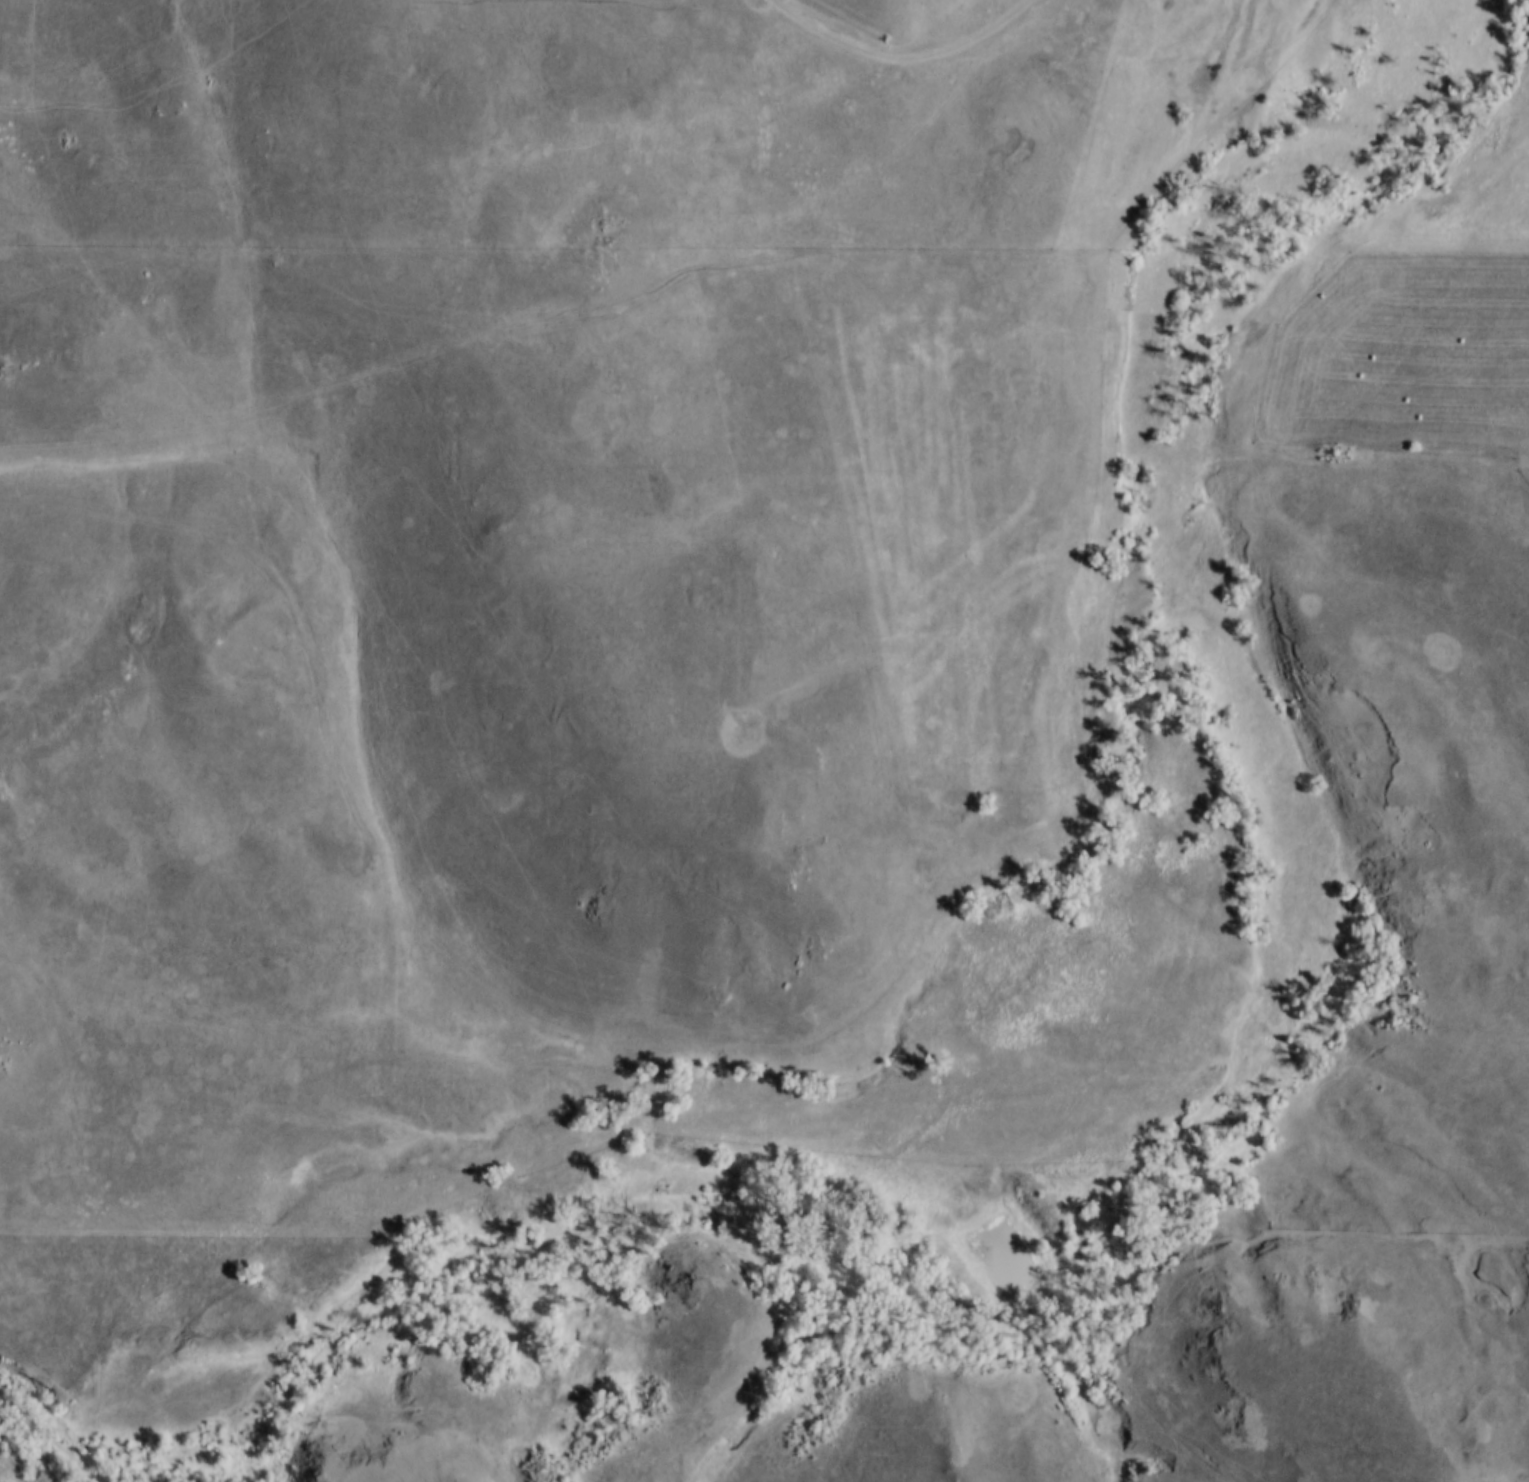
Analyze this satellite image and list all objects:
road: (901, 59)

